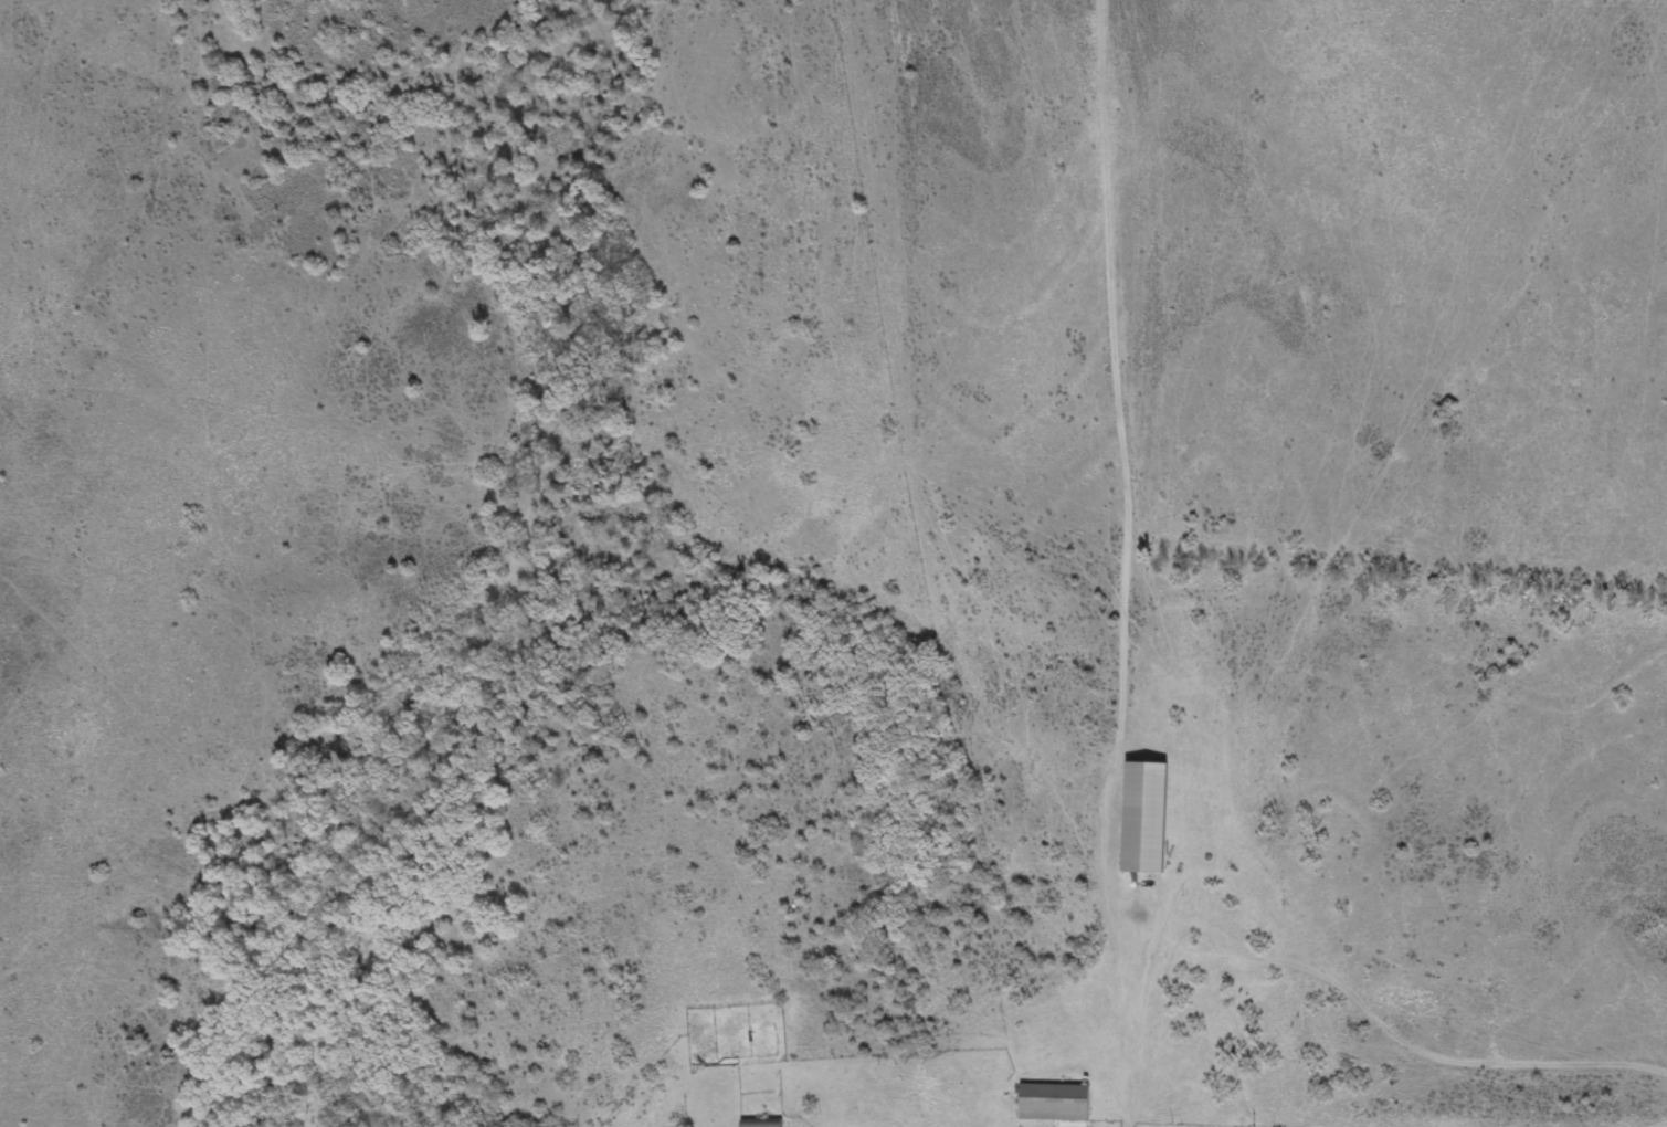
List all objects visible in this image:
road: (778, 563)
building: (1146, 821)
building: (1055, 1104)
building: (762, 1124)

